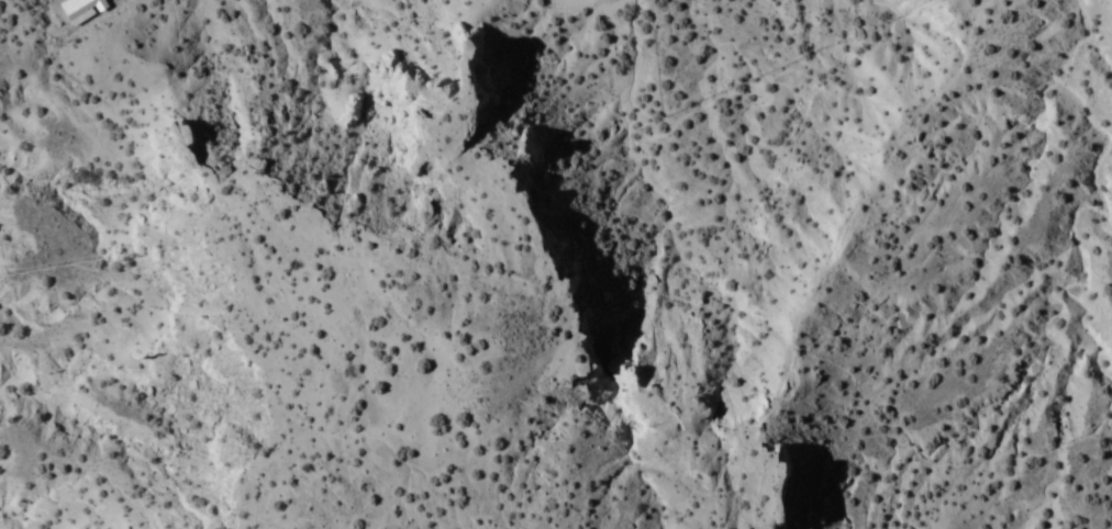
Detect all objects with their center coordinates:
building: (79, 8)

